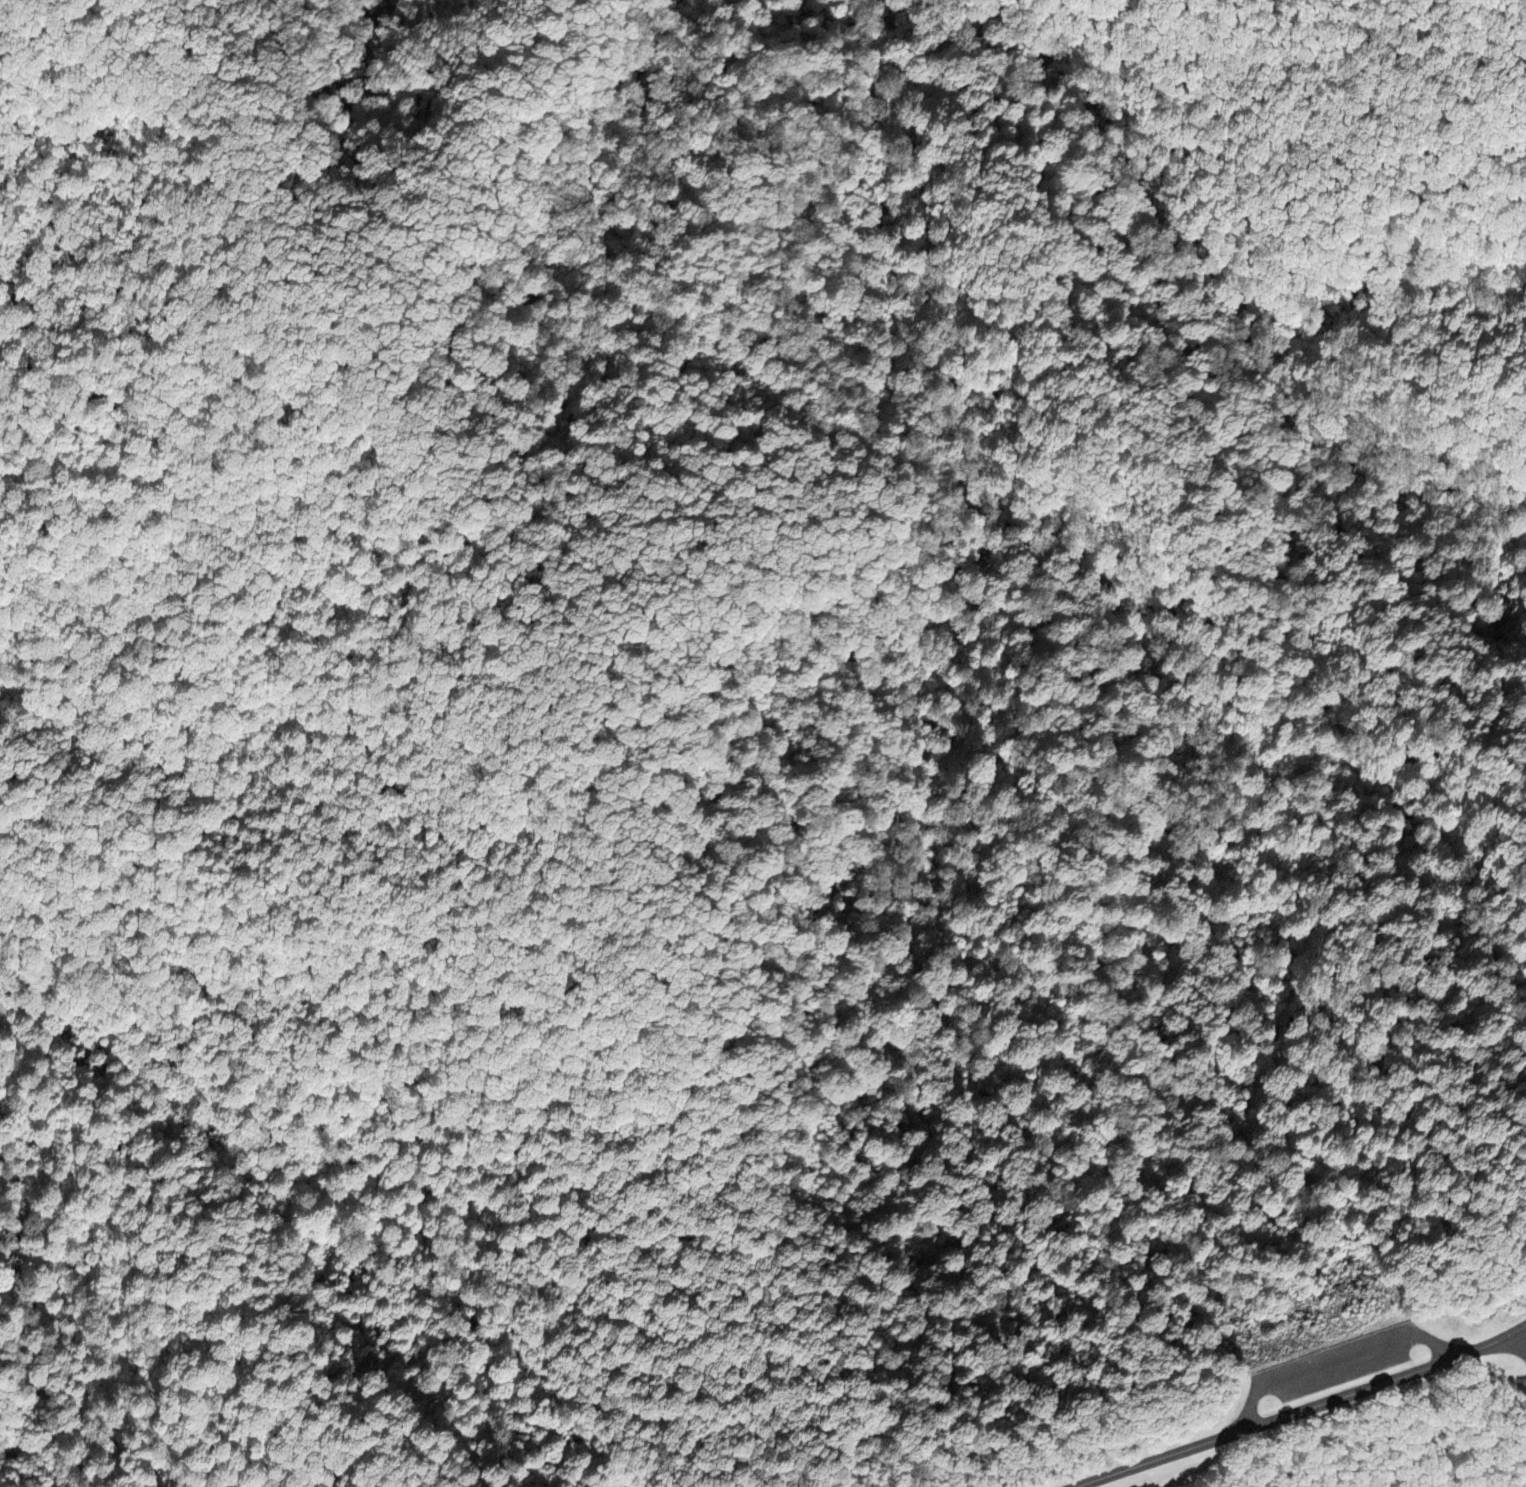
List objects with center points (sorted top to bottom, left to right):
road: (1395, 1324)
road: (1519, 1337)
road: (1339, 1354)
road: (1518, 1355)
parking lot: (1523, 1355)
parking lot: (1340, 1361)
road: (1302, 1410)

